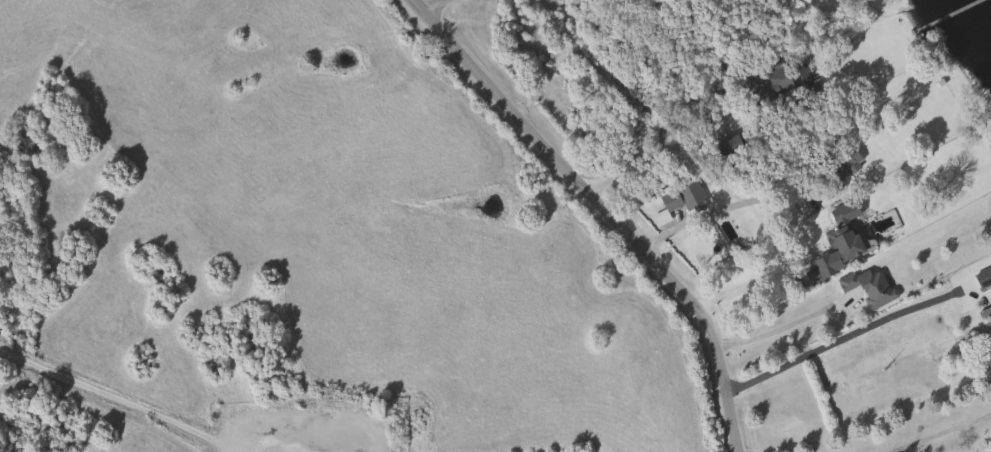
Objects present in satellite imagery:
road: (426, 4)
road: (670, 149)
building: (840, 168)
building: (679, 202)
road: (604, 209)
road: (710, 211)
building: (834, 259)
road: (744, 285)
building: (869, 285)
road: (775, 327)
building: (987, 393)
road: (117, 396)
road: (869, 418)
road: (936, 433)

